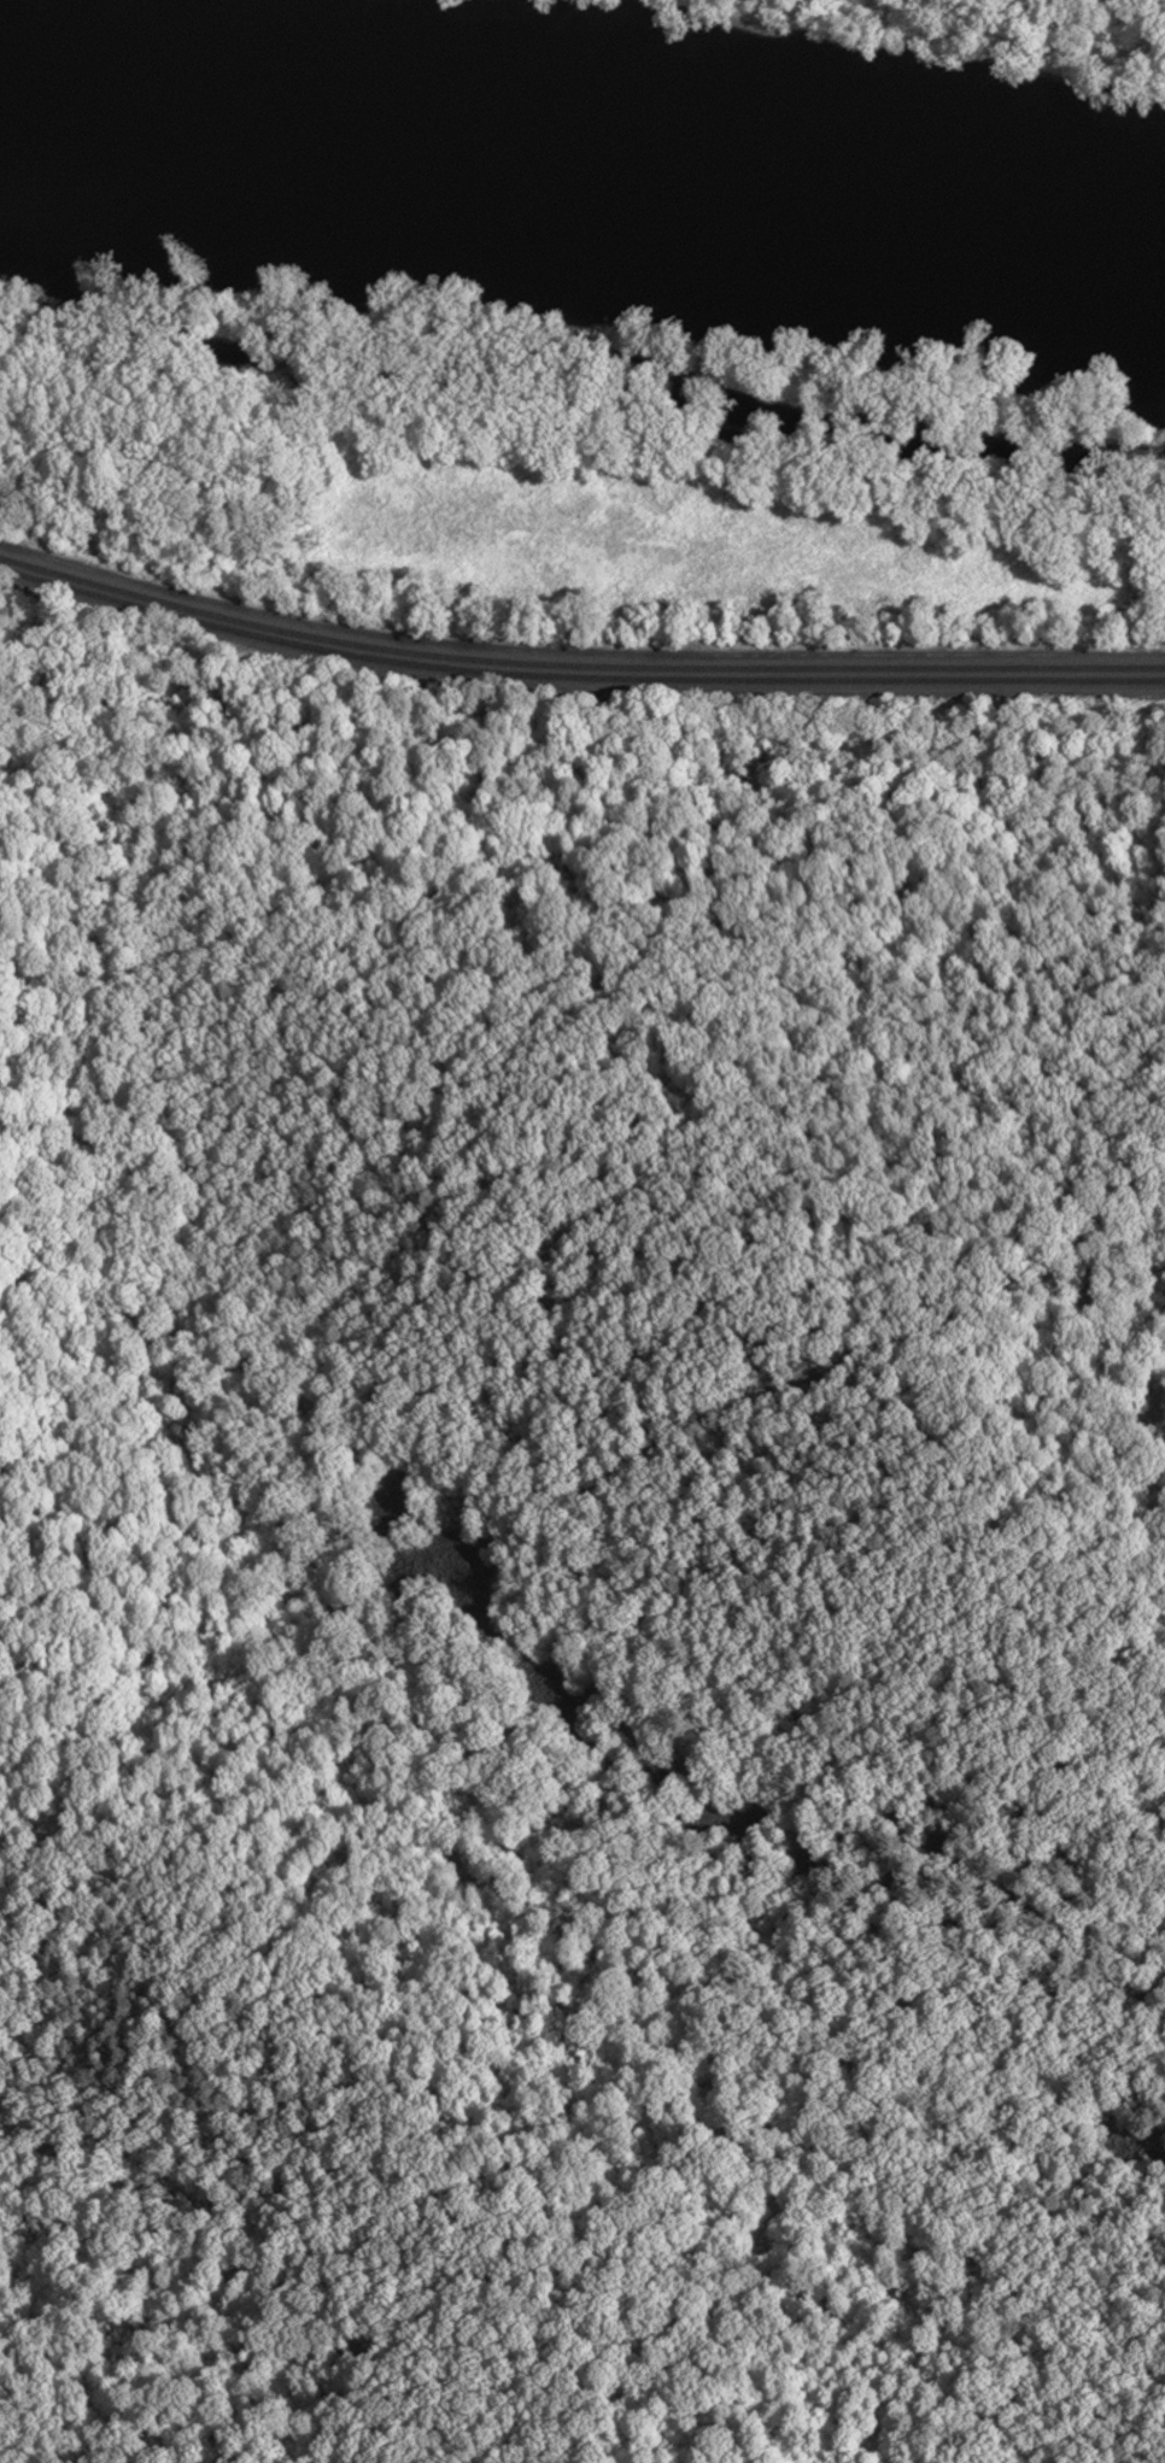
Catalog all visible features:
road: (1103, 11)
river: (584, 157)
road: (576, 651)
railway: (576, 665)
railway: (575, 678)

